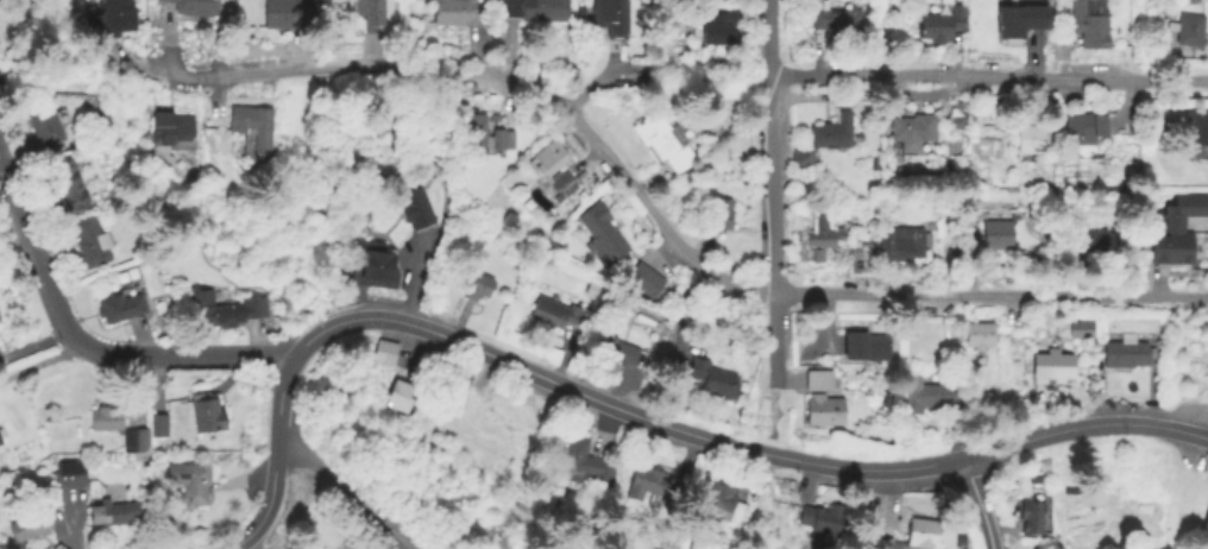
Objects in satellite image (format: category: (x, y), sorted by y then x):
building: (197, 6)
building: (536, 8)
building: (453, 11)
building: (367, 12)
building: (283, 13)
building: (108, 17)
building: (611, 17)
building: (837, 18)
building: (1019, 19)
building: (715, 21)
building: (940, 21)
building: (1091, 21)
building: (1191, 31)
road: (334, 69)
road: (822, 75)
road: (1040, 75)
building: (1084, 124)
building: (253, 125)
building: (44, 126)
building: (912, 126)
building: (169, 127)
building: (1200, 127)
building: (831, 128)
building: (474, 132)
building: (1030, 134)
building: (499, 138)
building: (666, 139)
building: (803, 156)
building: (555, 169)
building: (1193, 177)
building: (64, 184)
road: (773, 190)
road: (642, 201)
building: (416, 207)
building: (718, 214)
building: (1177, 231)
building: (603, 233)
building: (999, 233)
building: (819, 238)
building: (87, 239)
building: (1089, 239)
building: (901, 244)
building: (861, 257)
building: (375, 267)
building: (644, 277)
building: (477, 284)
building: (659, 291)
road: (990, 297)
building: (115, 304)
building: (225, 309)
building: (553, 310)
building: (1083, 330)
road: (438, 334)
building: (980, 334)
building: (867, 346)
road: (89, 348)
building: (617, 348)
building: (383, 351)
building: (1128, 355)
building: (1053, 366)
building: (460, 376)
building: (713, 377)
building: (819, 378)
building: (397, 392)
building: (930, 392)
building: (496, 398)
building: (201, 408)
building: (824, 409)
building: (464, 410)
road: (775, 419)
building: (157, 423)
building: (117, 425)
road: (1083, 425)
building: (0, 431)
building: (0, 443)
building: (584, 461)
road: (873, 469)
building: (69, 472)
building: (188, 479)
building: (652, 482)
road: (685, 491)
road: (341, 492)
building: (718, 501)
road: (979, 503)
building: (112, 511)
building: (823, 517)
building: (1032, 518)
building: (1206, 520)
building: (34, 523)
building: (1207, 530)
building: (914, 535)

